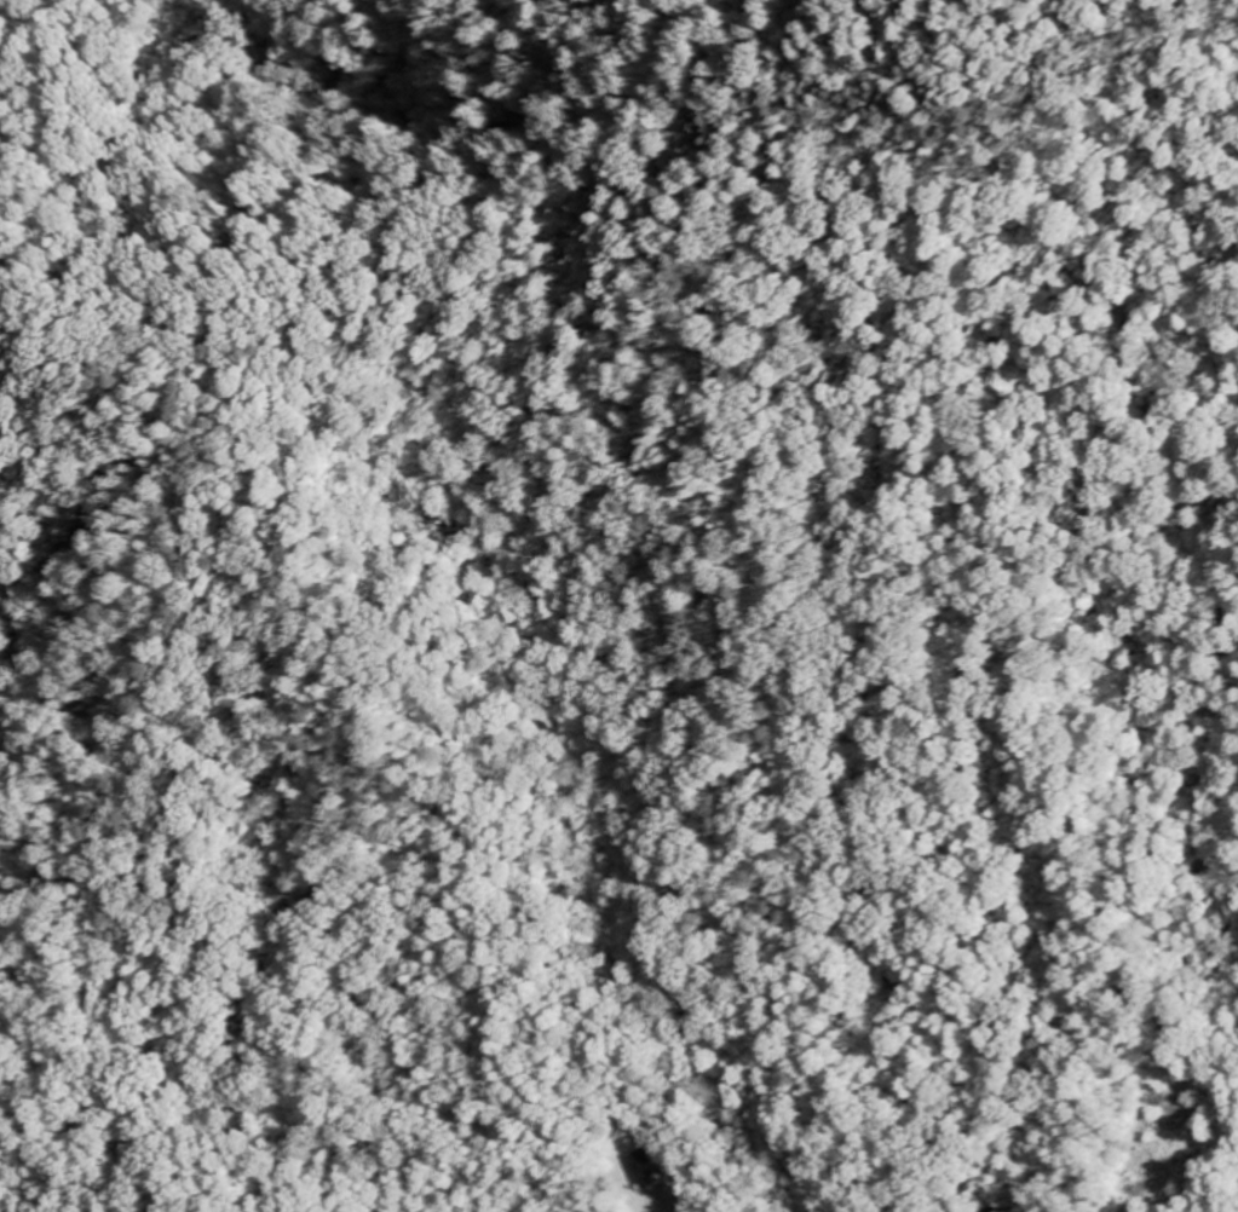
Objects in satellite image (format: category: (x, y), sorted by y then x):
road: (1210, 550)
building: (643, 1171)

